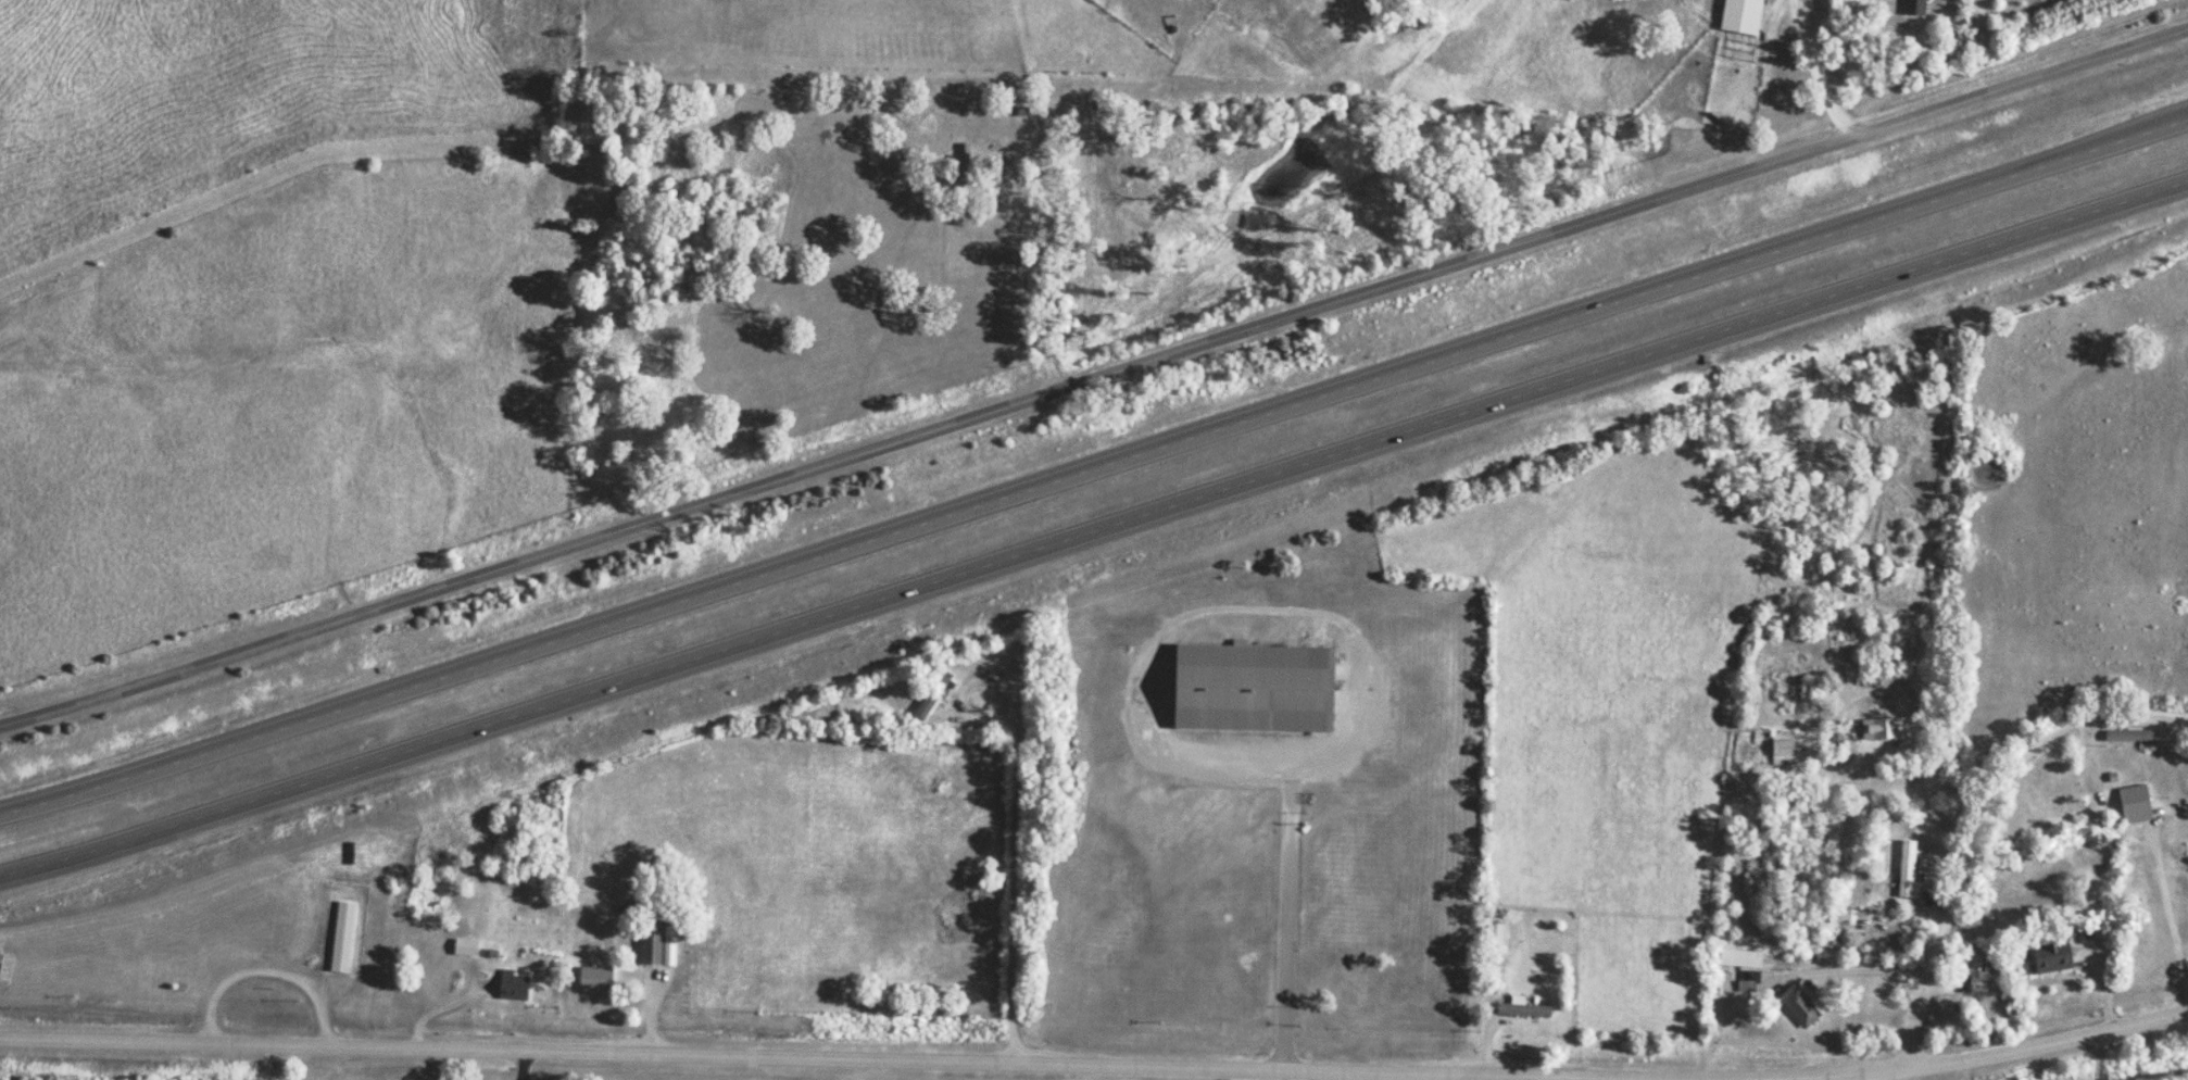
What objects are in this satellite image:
building: (1962, 0)
building: (1914, 8)
building: (1740, 16)
road: (1815, 62)
road: (1094, 378)
road: (1095, 469)
road: (1095, 531)
road: (997, 683)
building: (1252, 688)
building: (931, 694)
building: (1885, 707)
building: (1882, 729)
building: (2127, 736)
building: (1782, 748)
building: (2134, 804)
road: (1982, 824)
building: (1906, 868)
road: (1019, 892)
building: (1901, 904)
road: (1287, 905)
road: (2172, 913)
building: (1837, 926)
building: (1494, 934)
building: (342, 937)
building: (656, 945)
building: (464, 947)
building: (1738, 958)
building: (2050, 958)
road: (1872, 966)
building: (1975, 971)
building: (593, 978)
road: (647, 984)
building: (512, 985)
building: (1798, 1006)
building: (1521, 1008)
road: (1979, 1054)
road: (882, 1057)
road: (1448, 1073)

